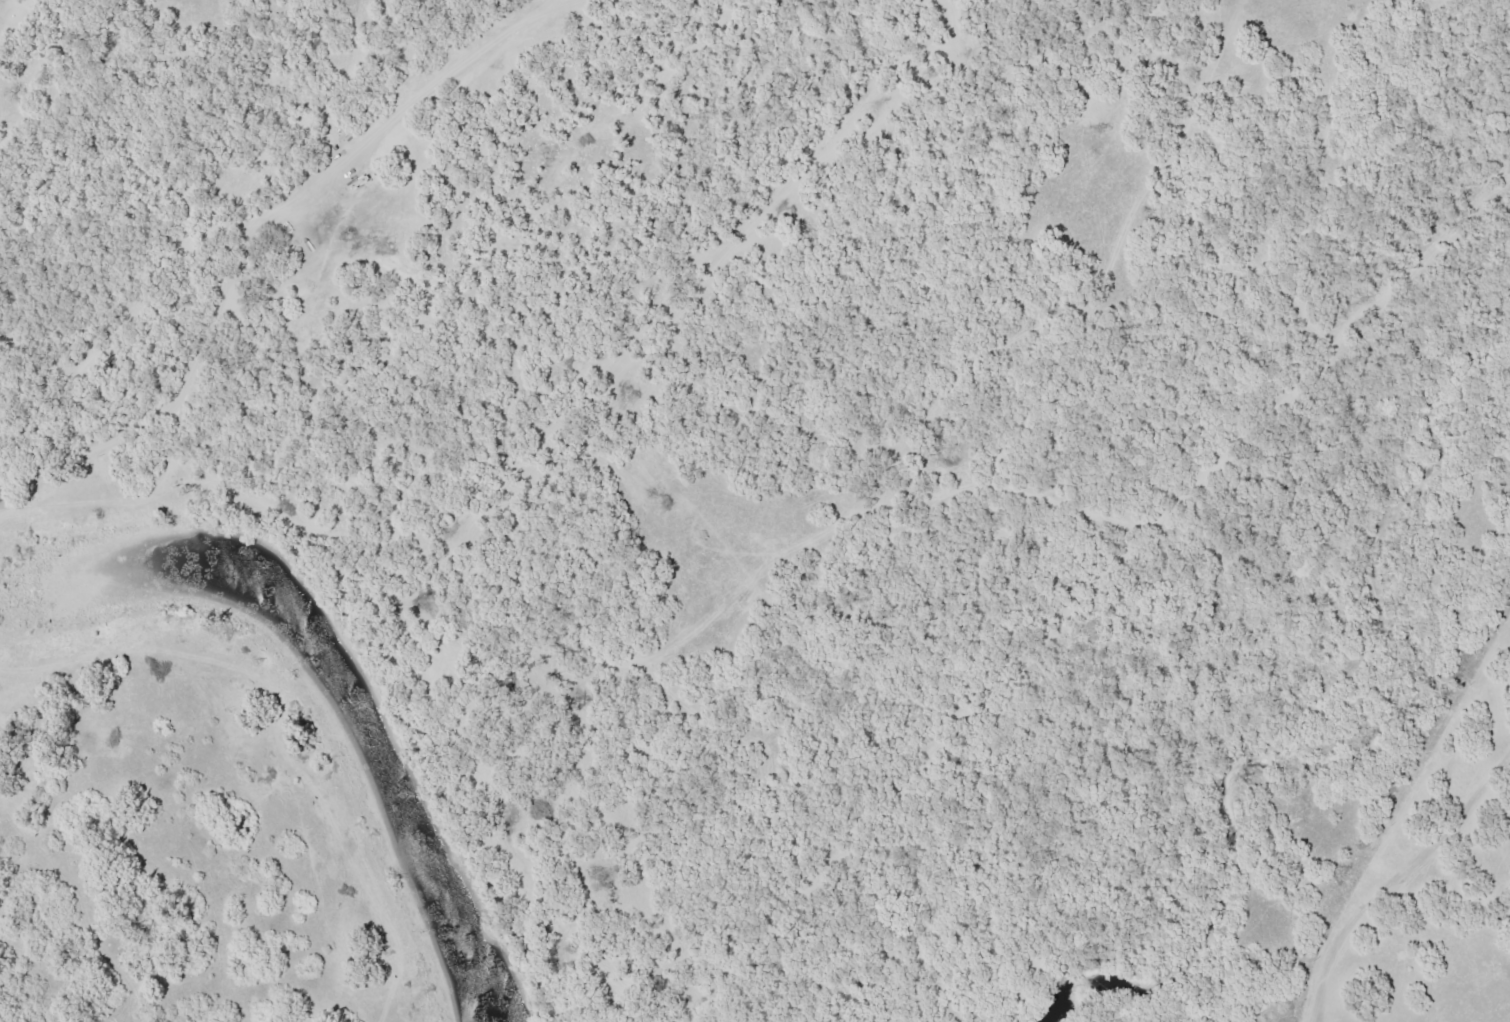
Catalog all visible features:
road: (376, 141)
road: (1166, 155)
road: (1392, 879)

